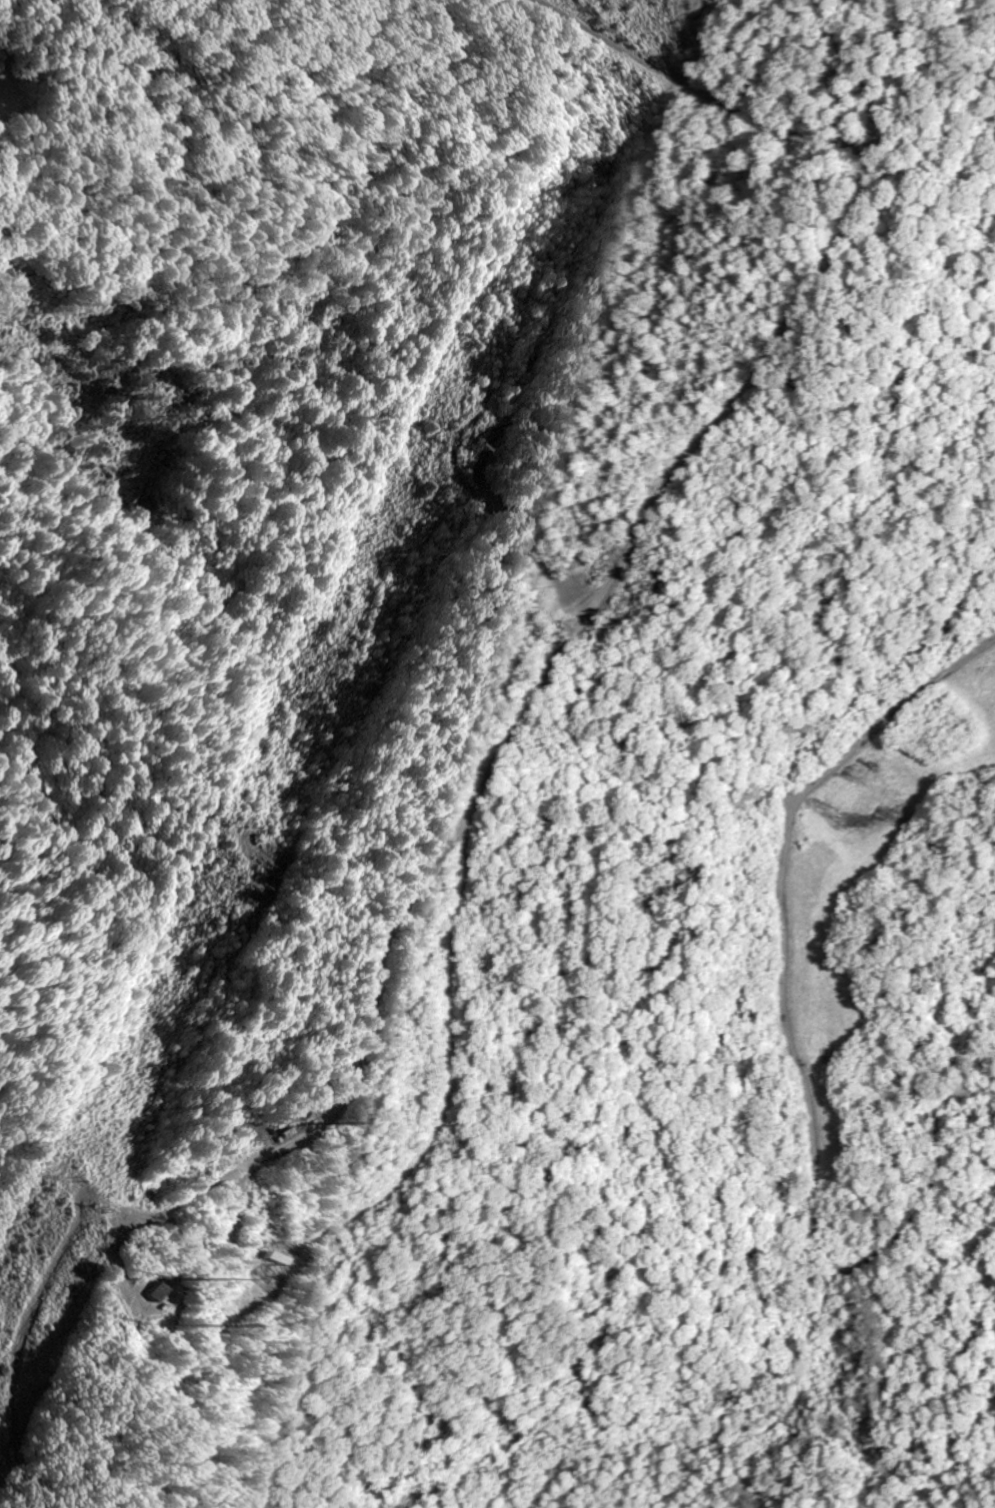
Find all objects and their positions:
building: (177, 1291)

